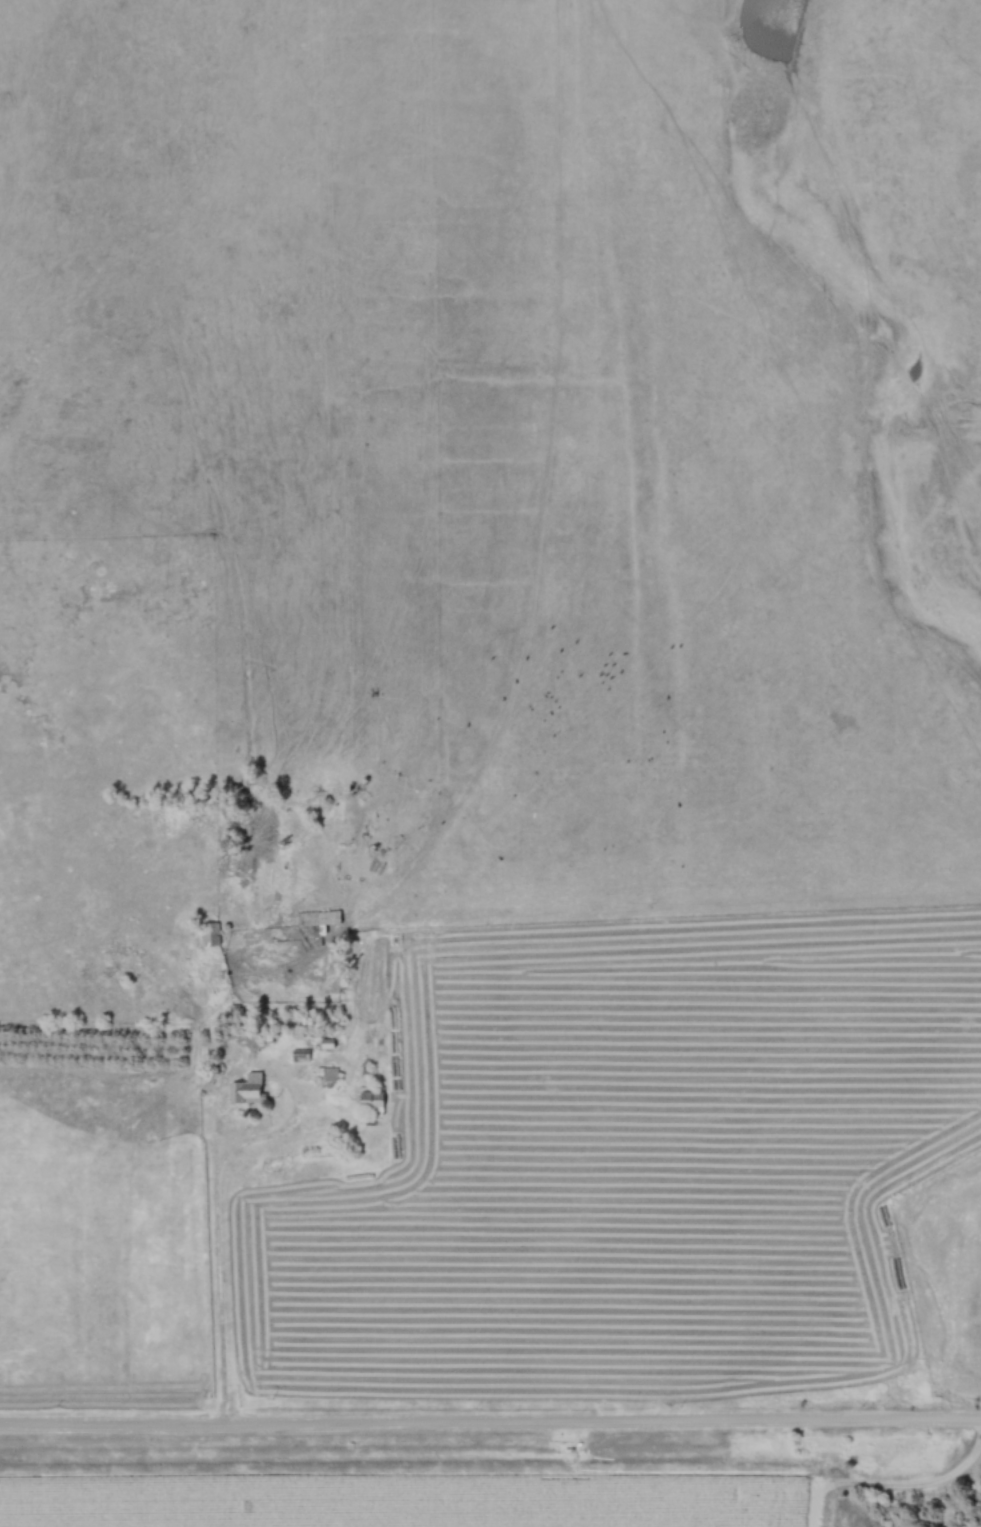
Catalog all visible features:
building: (320, 921)
building: (213, 935)
building: (303, 1058)
building: (332, 1077)
building: (249, 1091)
building: (374, 1104)
road: (220, 1234)
road: (490, 1424)

